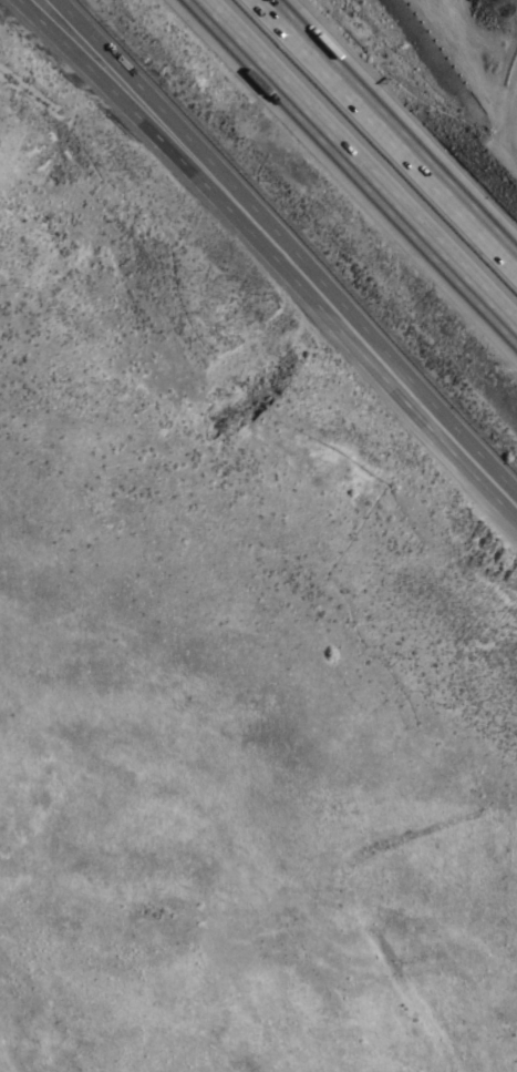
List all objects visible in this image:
road: (162, 111)
road: (139, 113)
road: (391, 131)
road: (358, 165)
road: (386, 366)

